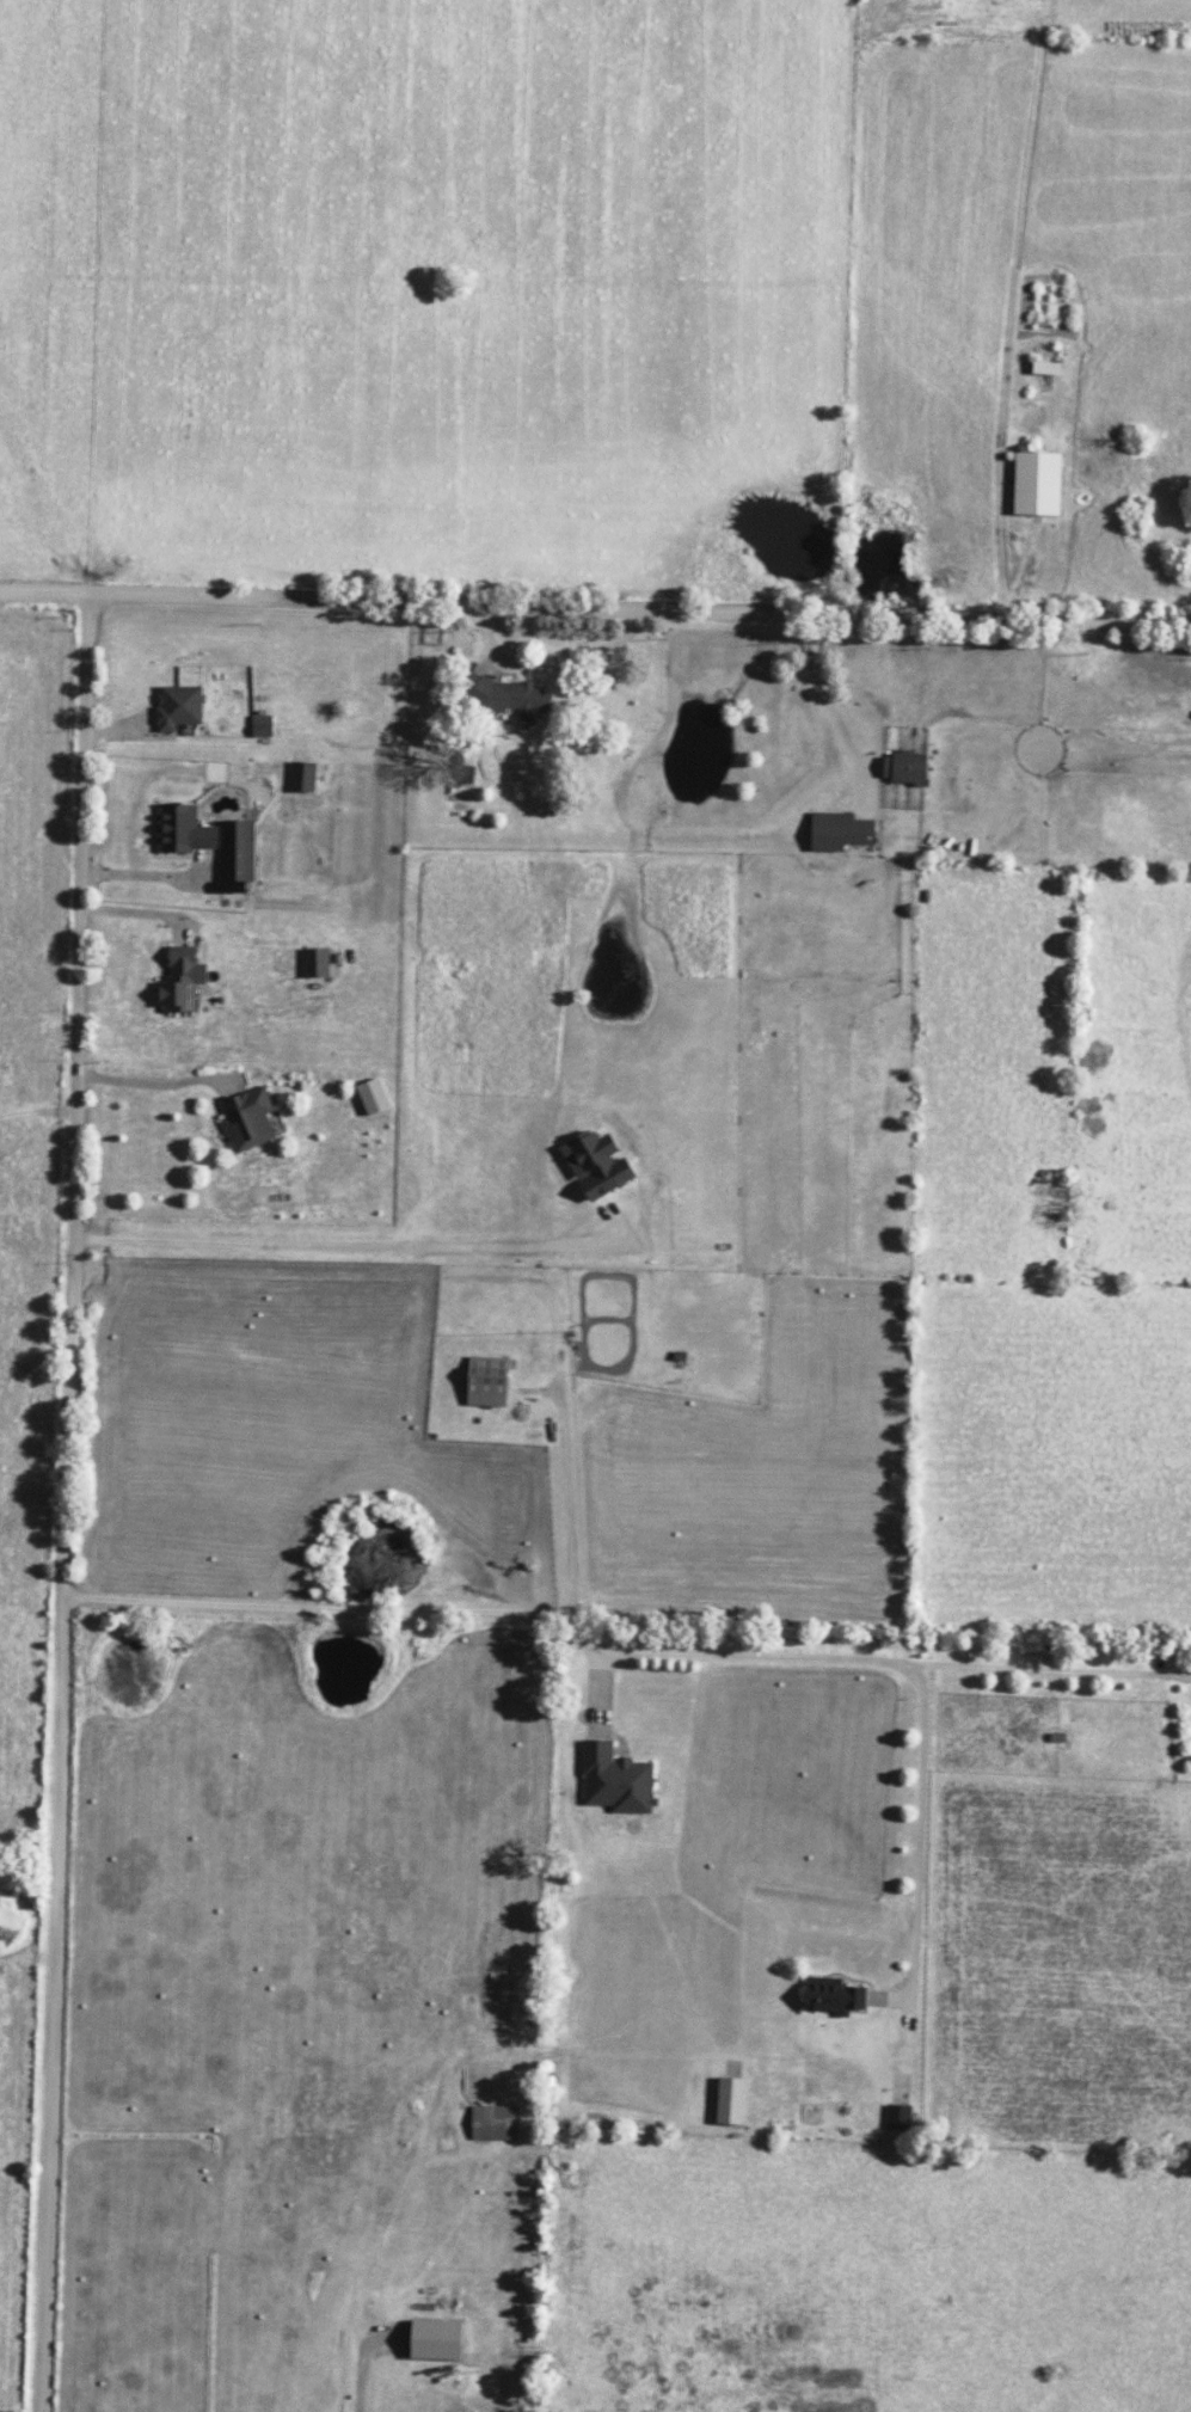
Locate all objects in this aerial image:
building: (1036, 484)
road: (45, 591)
road: (640, 612)
building: (508, 696)
building: (178, 706)
building: (260, 730)
building: (903, 768)
building: (301, 777)
building: (182, 829)
building: (839, 831)
building: (237, 854)
building: (314, 963)
building: (179, 981)
road: (78, 1095)
building: (372, 1097)
building: (247, 1119)
building: (595, 1164)
road: (356, 1247)
building: (485, 1381)
road: (622, 1653)
building: (614, 1780)
road: (919, 1831)
building: (831, 1996)
road: (48, 2005)
building: (730, 2101)
building: (897, 2117)
building: (493, 2123)

